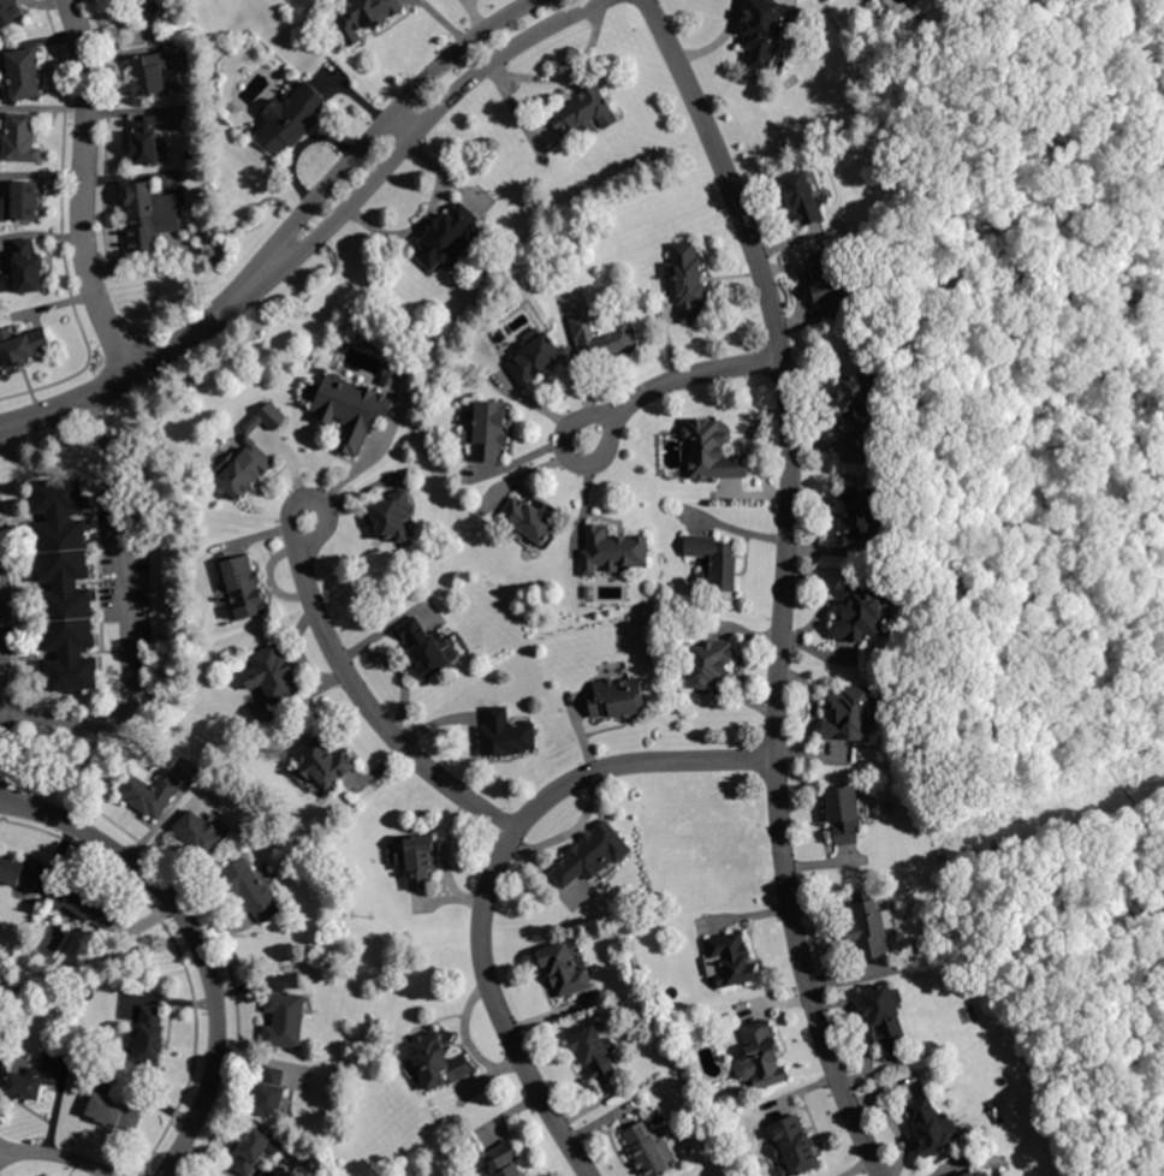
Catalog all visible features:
building: (154, 8)
building: (11, 13)
building: (364, 17)
building: (765, 29)
building: (25, 72)
building: (150, 73)
building: (581, 113)
building: (292, 118)
building: (250, 131)
building: (22, 138)
building: (147, 139)
road: (85, 190)
building: (803, 196)
building: (26, 200)
building: (150, 216)
road: (301, 237)
building: (449, 238)
building: (26, 266)
building: (830, 274)
building: (688, 279)
building: (605, 337)
building: (23, 344)
building: (535, 357)
road: (783, 366)
building: (387, 375)
road: (678, 380)
building: (855, 403)
building: (348, 411)
building: (488, 432)
building: (712, 451)
building: (243, 469)
building: (861, 511)
building: (393, 515)
building: (529, 519)
building: (612, 550)
building: (715, 562)
building: (66, 586)
building: (244, 587)
road: (1023, 587)
building: (862, 610)
road: (127, 613)
road: (0, 620)
road: (0, 624)
building: (428, 647)
building: (711, 665)
building: (275, 673)
building: (617, 697)
road: (366, 700)
building: (851, 715)
building: (506, 735)
building: (325, 761)
building: (150, 792)
building: (845, 814)
building: (201, 832)
building: (593, 854)
building: (418, 860)
building: (20, 871)
road: (494, 873)
building: (253, 889)
building: (93, 907)
building: (867, 926)
road: (200, 939)
building: (729, 961)
building: (565, 968)
road: (807, 972)
building: (887, 1015)
building: (285, 1018)
building: (152, 1035)
building: (595, 1050)
building: (764, 1053)
building: (439, 1062)
building: (34, 1082)
building: (272, 1092)
building: (113, 1111)
building: (931, 1128)
building: (256, 1147)
building: (794, 1147)
building: (649, 1150)
road: (58, 1153)
building: (504, 1160)
building: (970, 1174)
building: (986, 1174)

